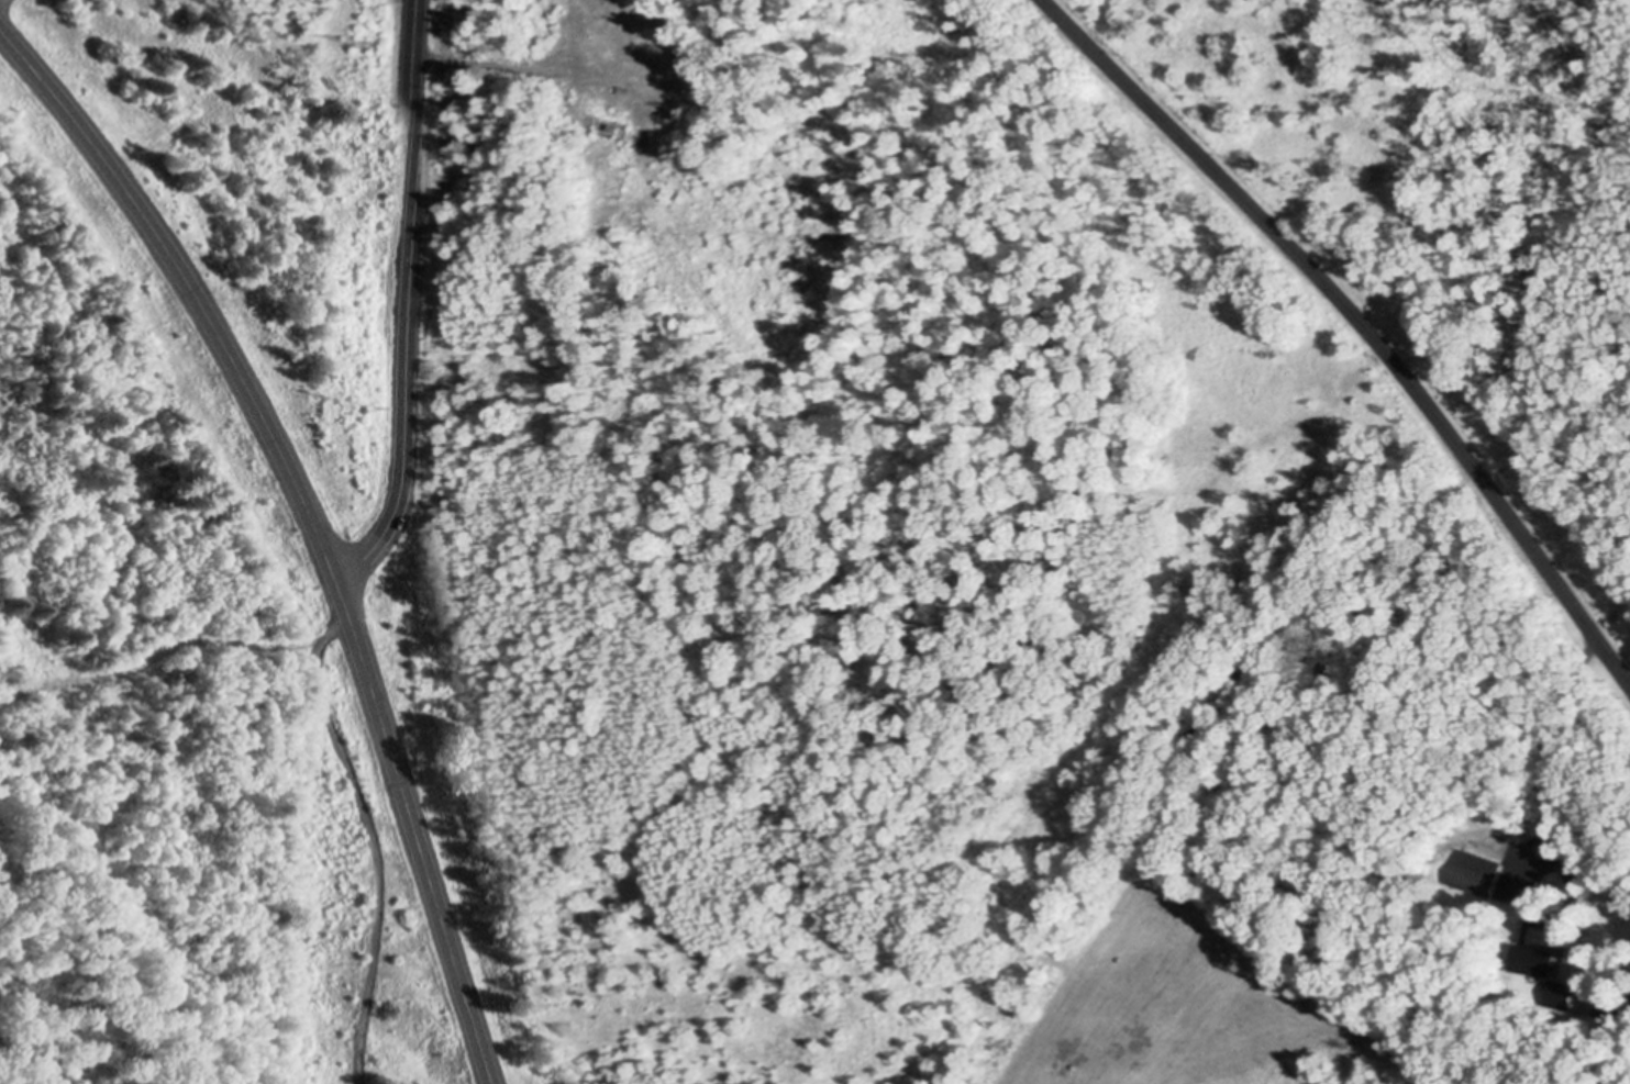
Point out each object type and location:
road: (0, 0)
building: (669, 31)
road: (485, 59)
road: (407, 301)
road: (1361, 321)
road: (308, 525)
road: (366, 827)
building: (1478, 872)
road: (1520, 876)
building: (1537, 959)
building: (1562, 991)

